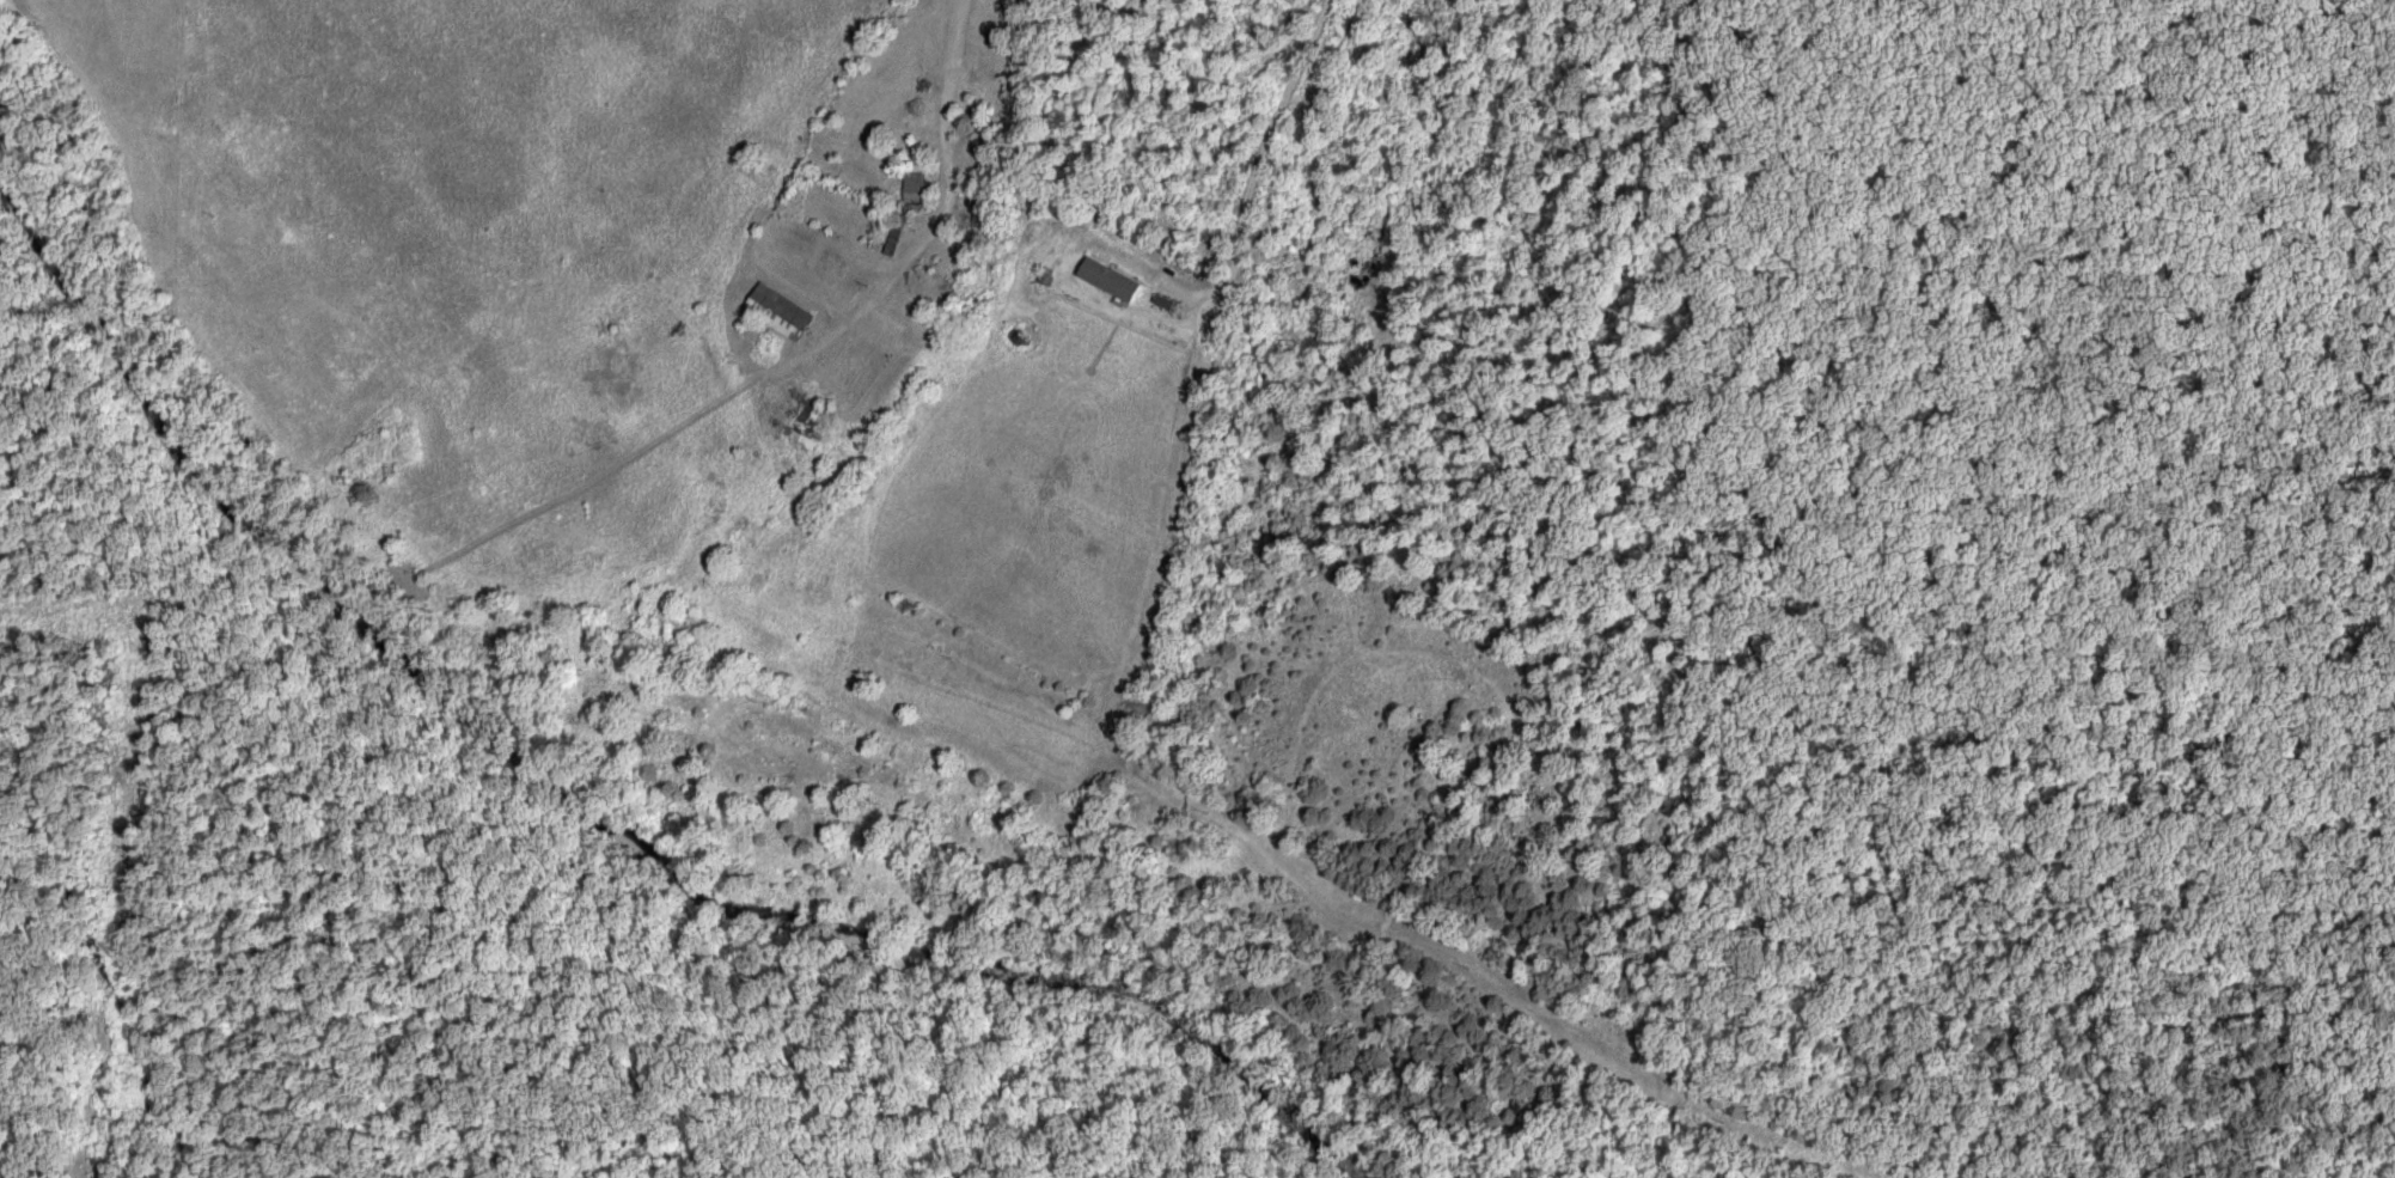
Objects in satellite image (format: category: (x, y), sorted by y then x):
building: (922, 216)
building: (1116, 276)
building: (786, 309)

